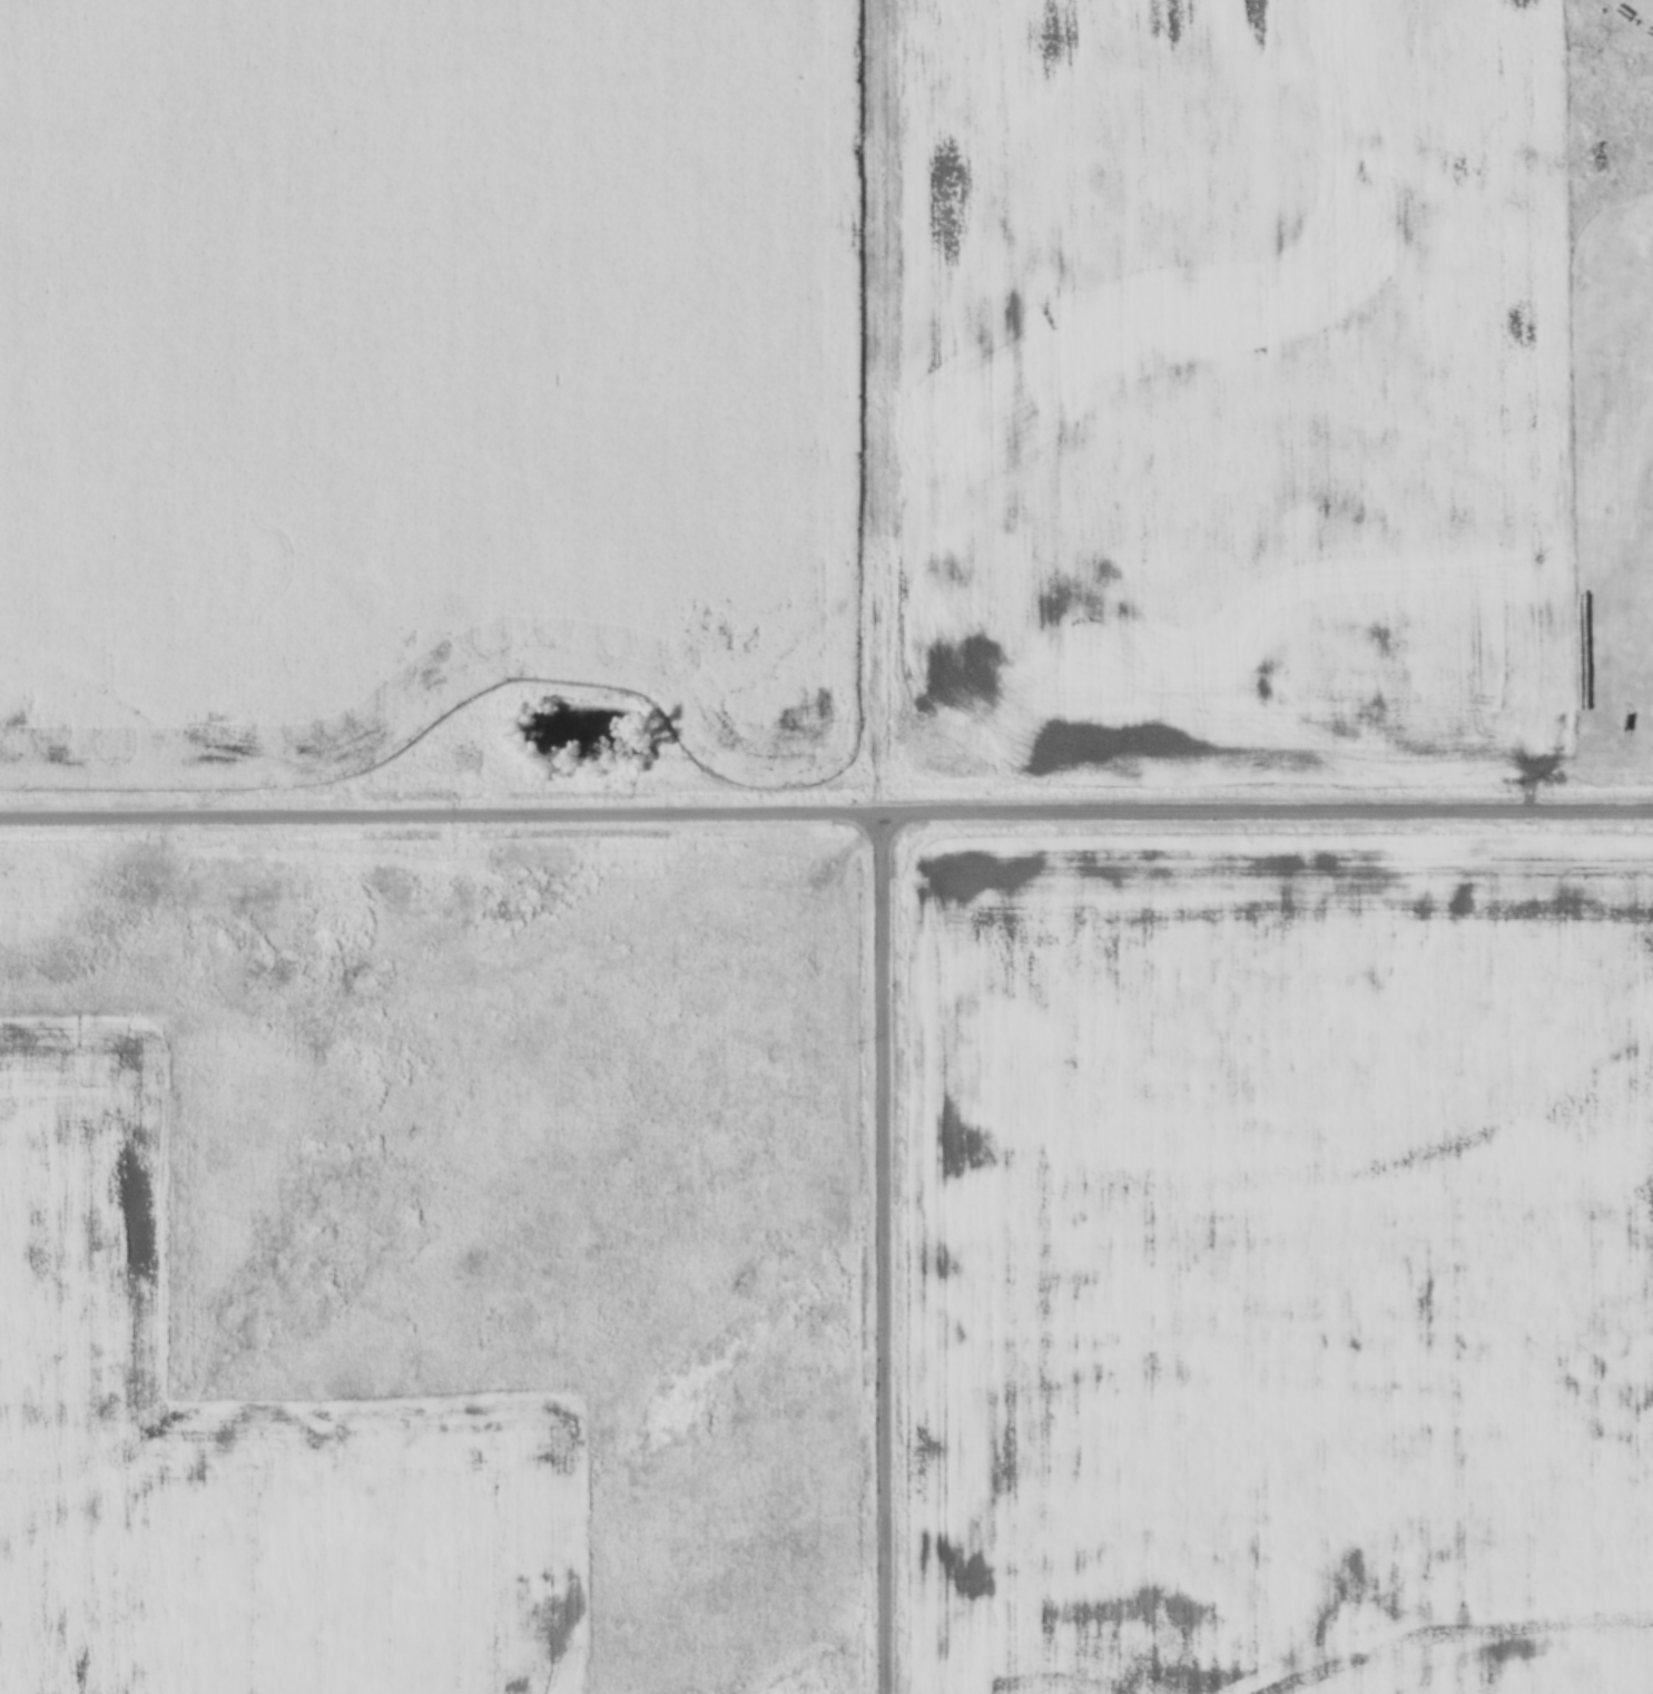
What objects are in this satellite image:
building: (1611, 128)
road: (880, 402)
road: (826, 805)
road: (883, 1250)

